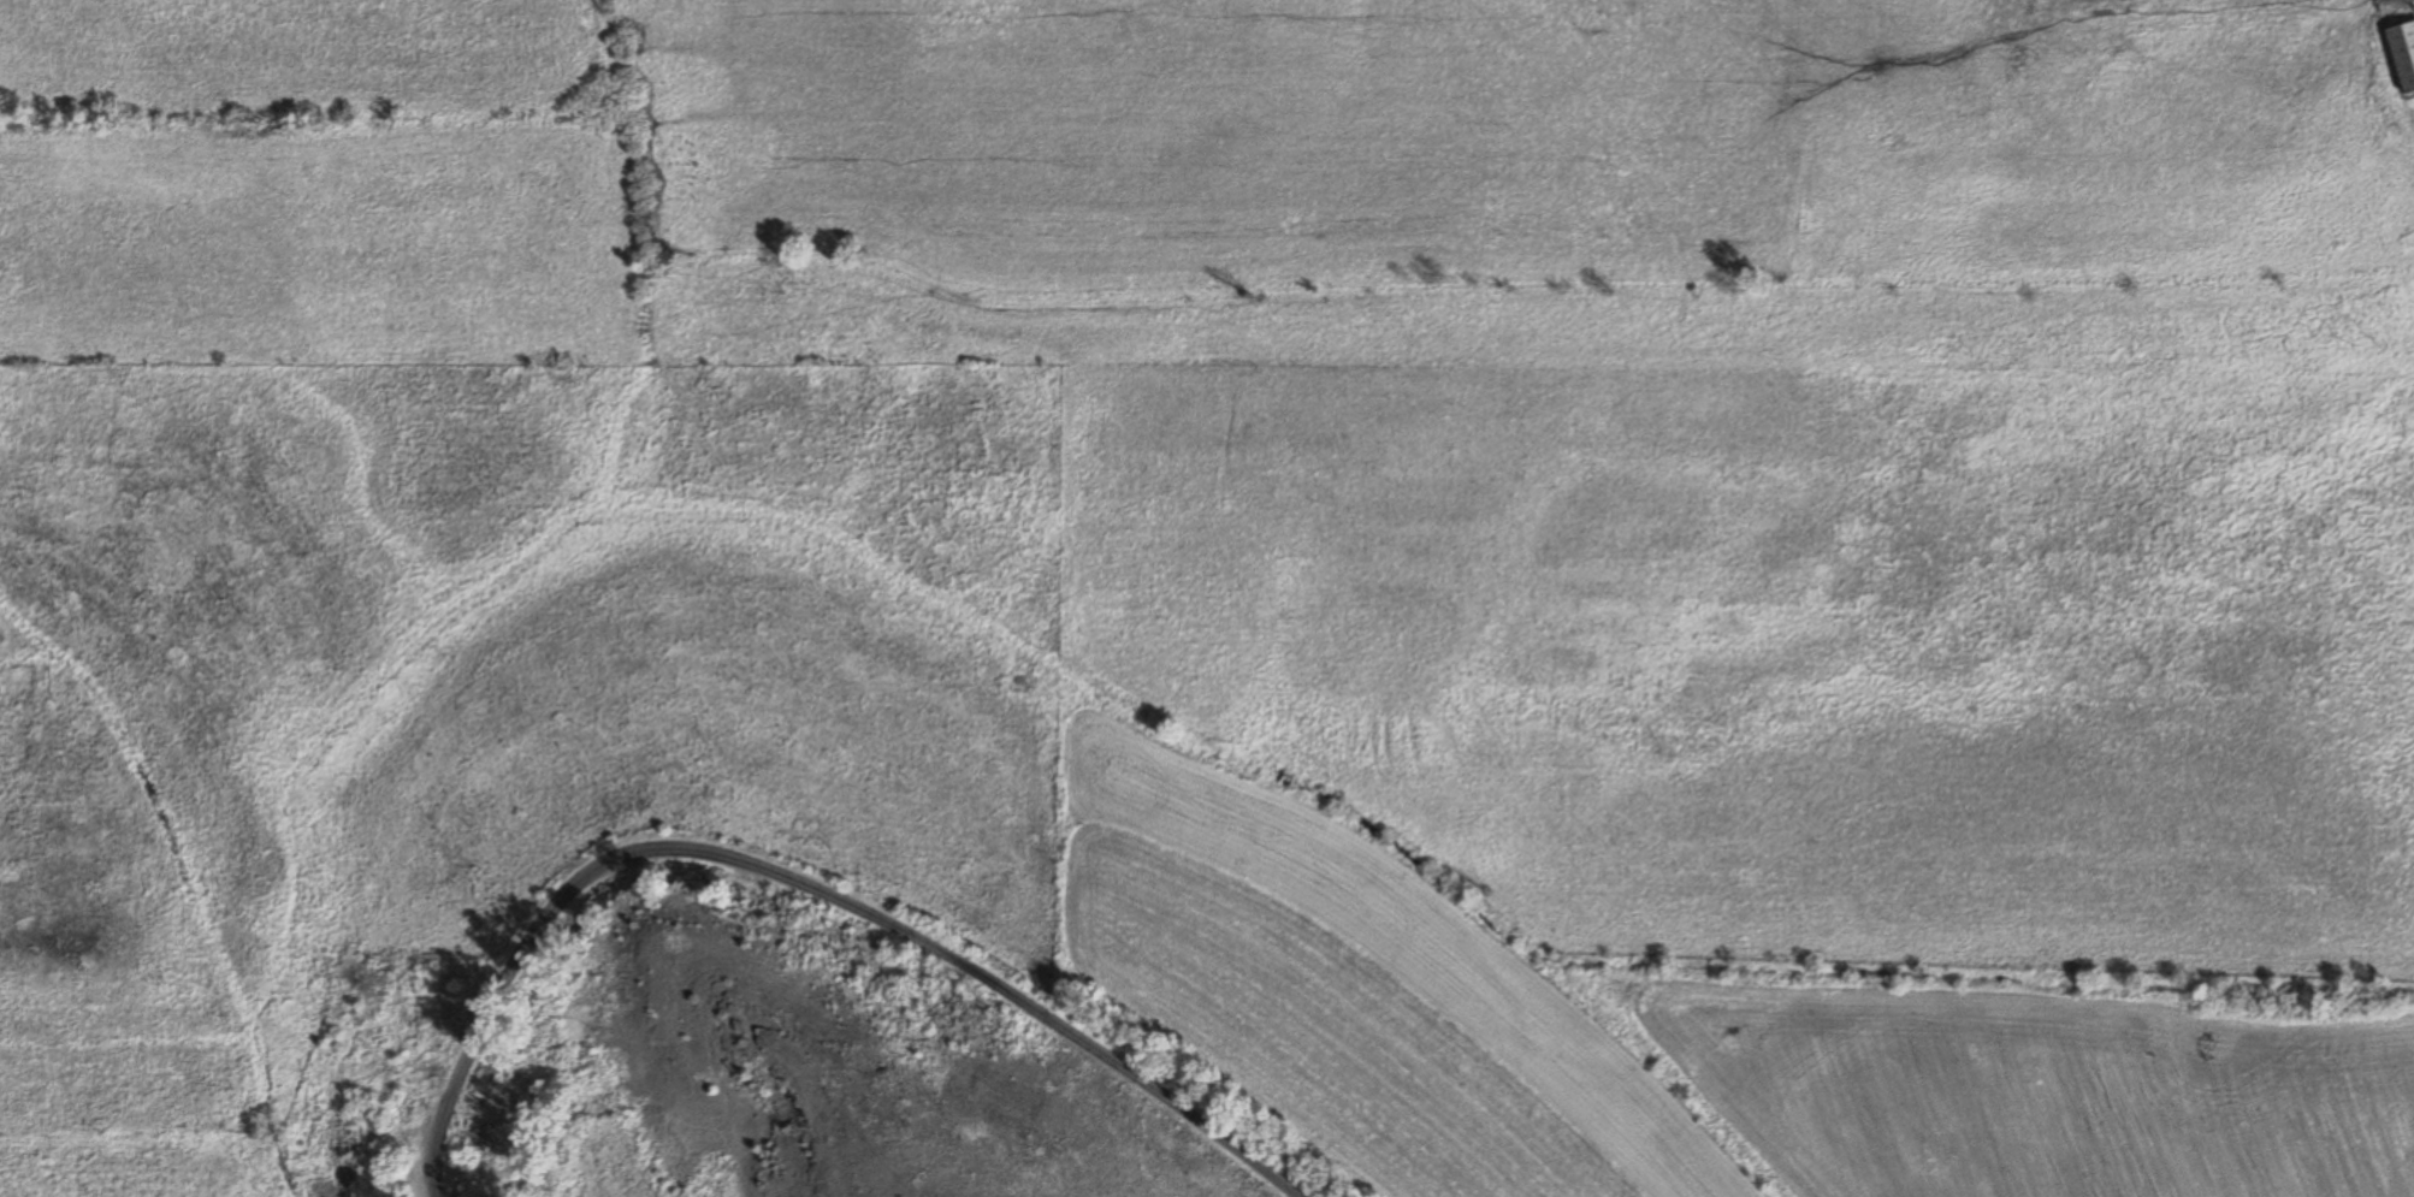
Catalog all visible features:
building: (2401, 54)
road: (795, 883)

